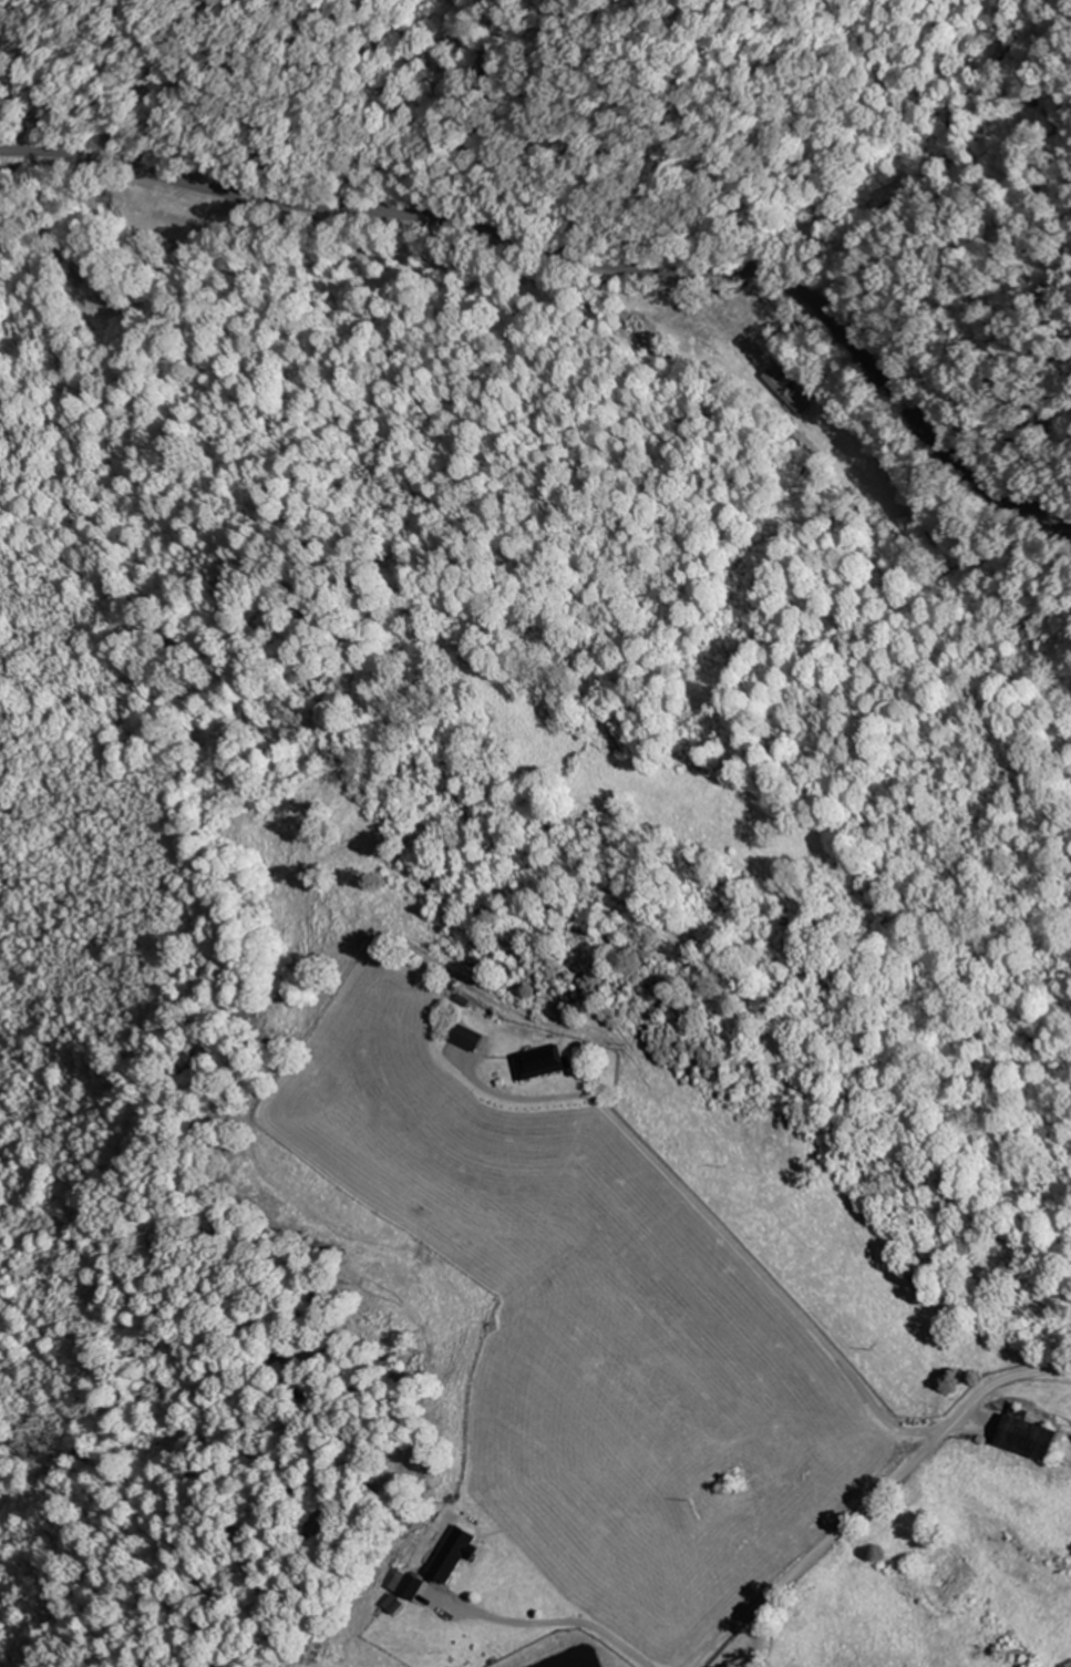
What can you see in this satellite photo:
road: (579, 261)
building: (96, 299)
building: (472, 1038)
building: (547, 1062)
road: (1023, 1369)
building: (1036, 1437)
road: (837, 1533)
building: (457, 1553)
building: (410, 1591)
park: (764, 1663)

